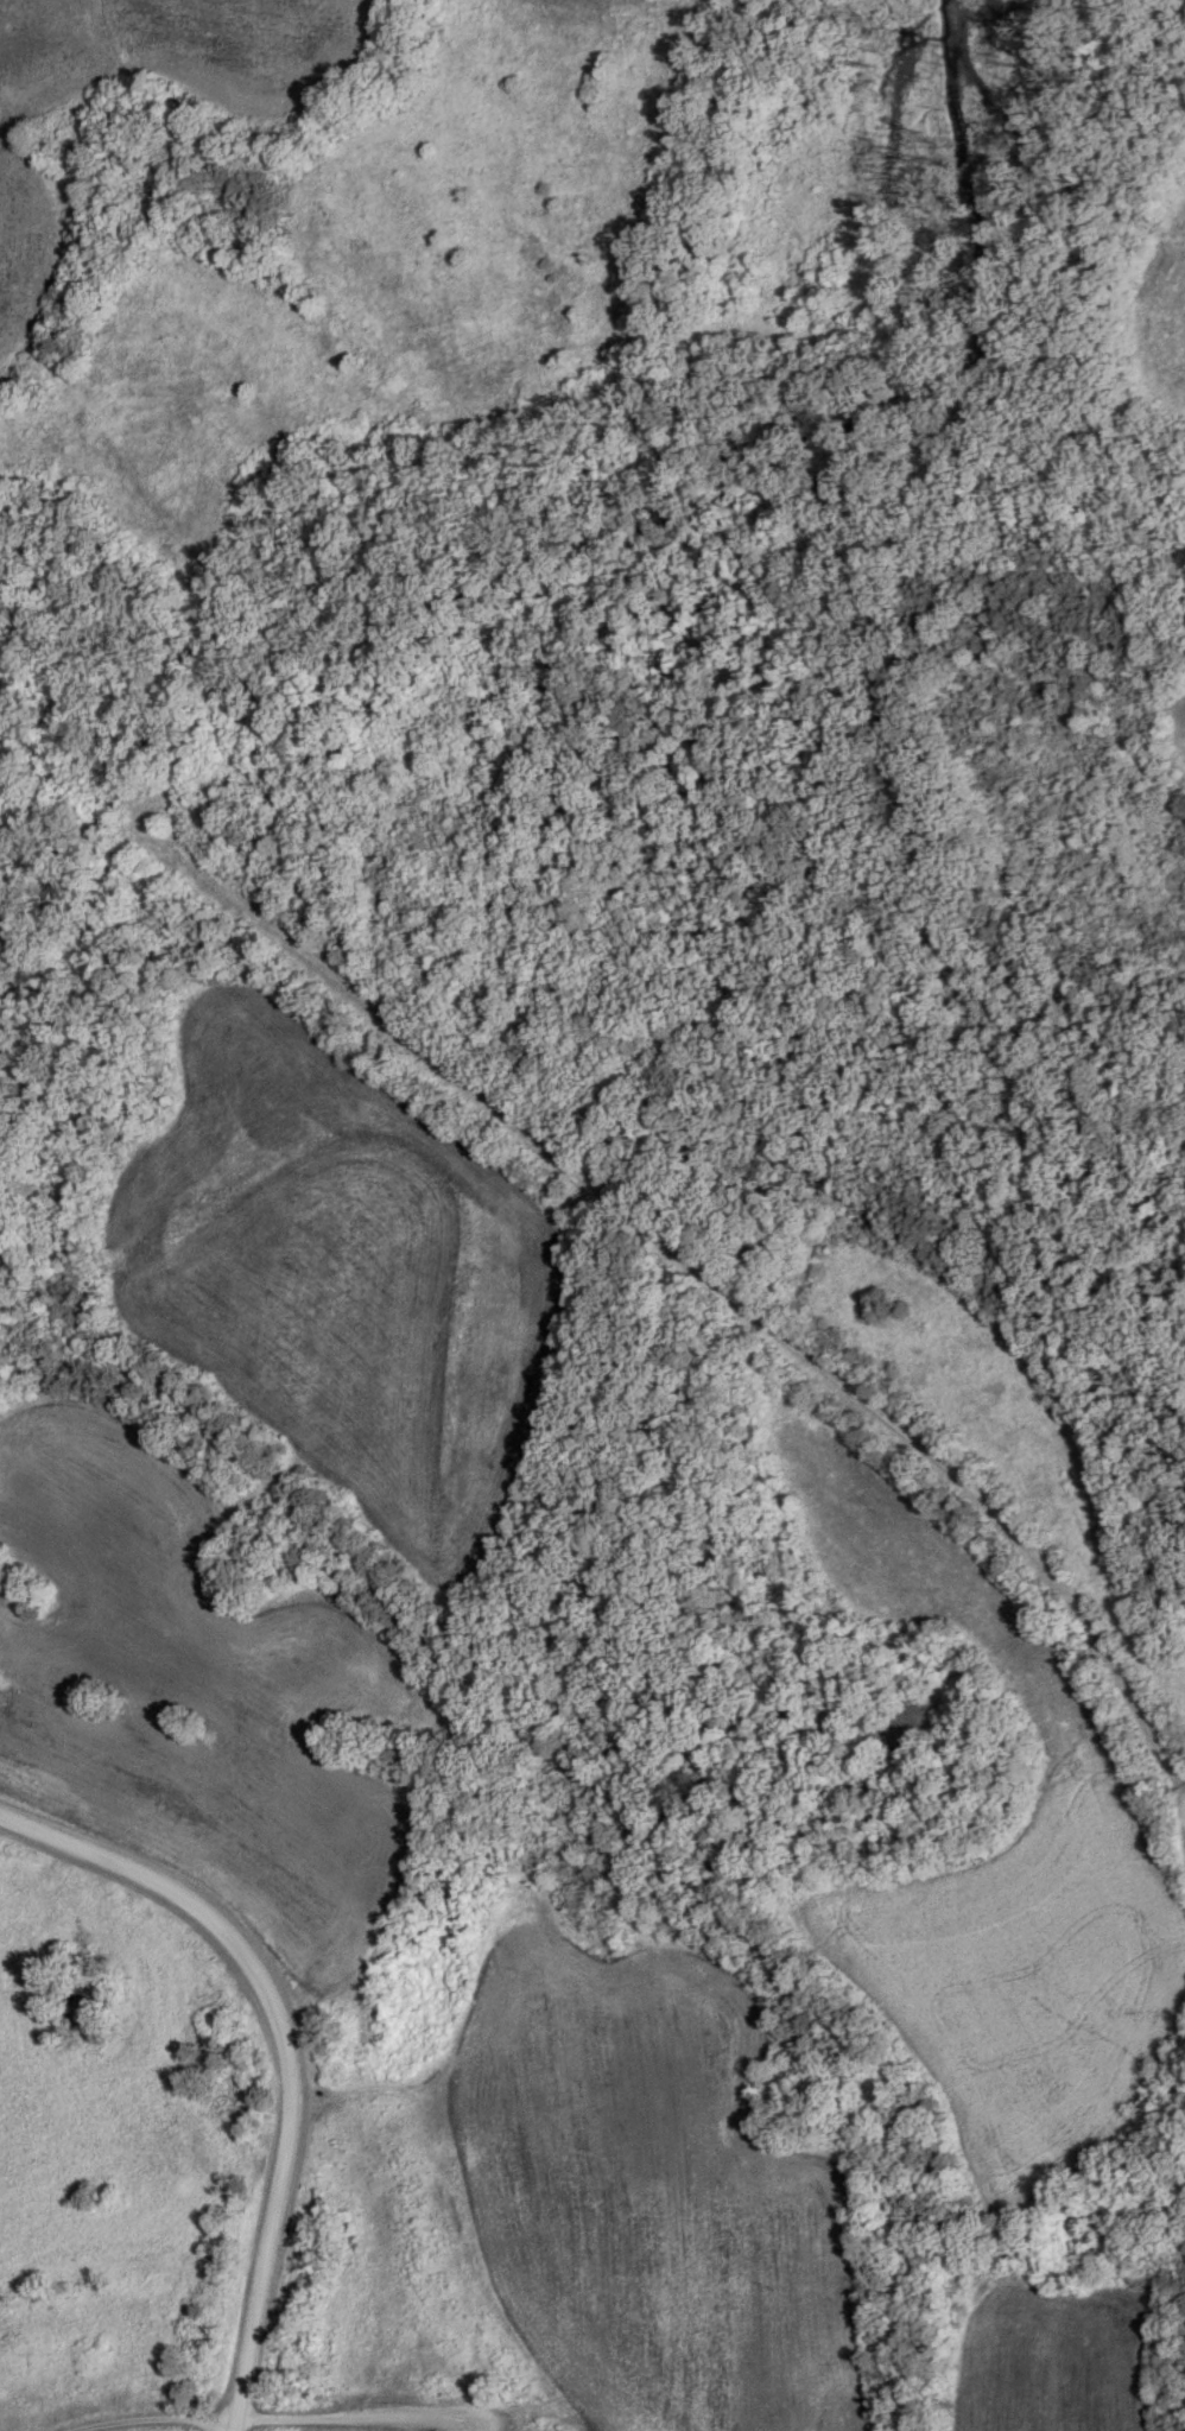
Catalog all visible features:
road: (825, 556)
road: (11, 727)
road: (703, 1270)
road: (284, 2046)
road: (289, 2417)

